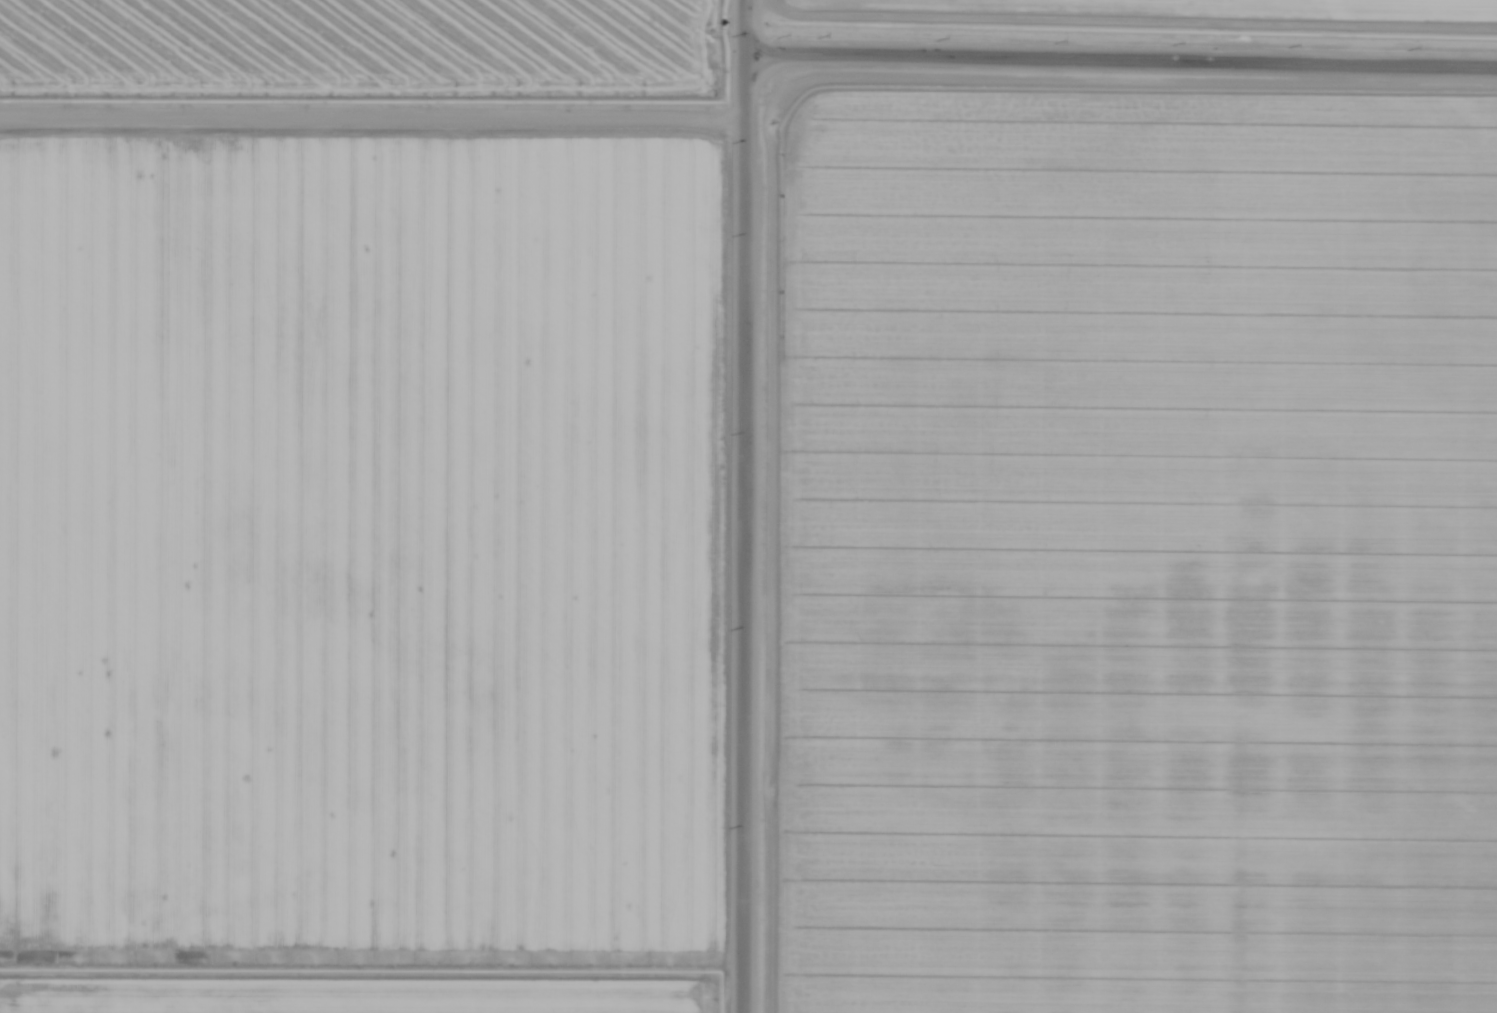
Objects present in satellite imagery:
crop: (1192, 8)
crop: (365, 48)
road: (1125, 55)
road: (375, 125)
road: (751, 506)

